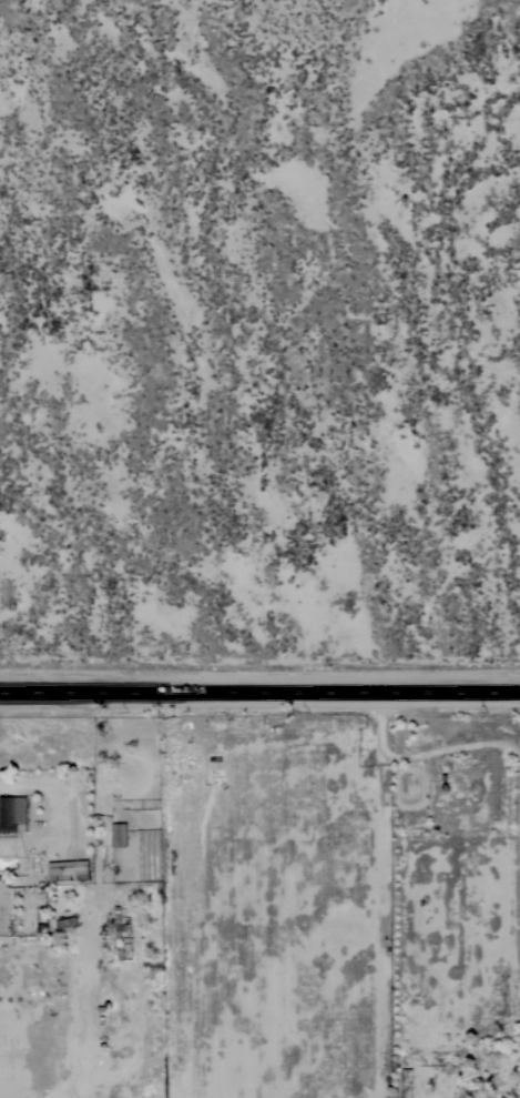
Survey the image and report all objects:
road: (259, 692)
building: (11, 813)
building: (119, 834)
building: (68, 870)
building: (8, 900)
building: (65, 921)
building: (118, 934)

